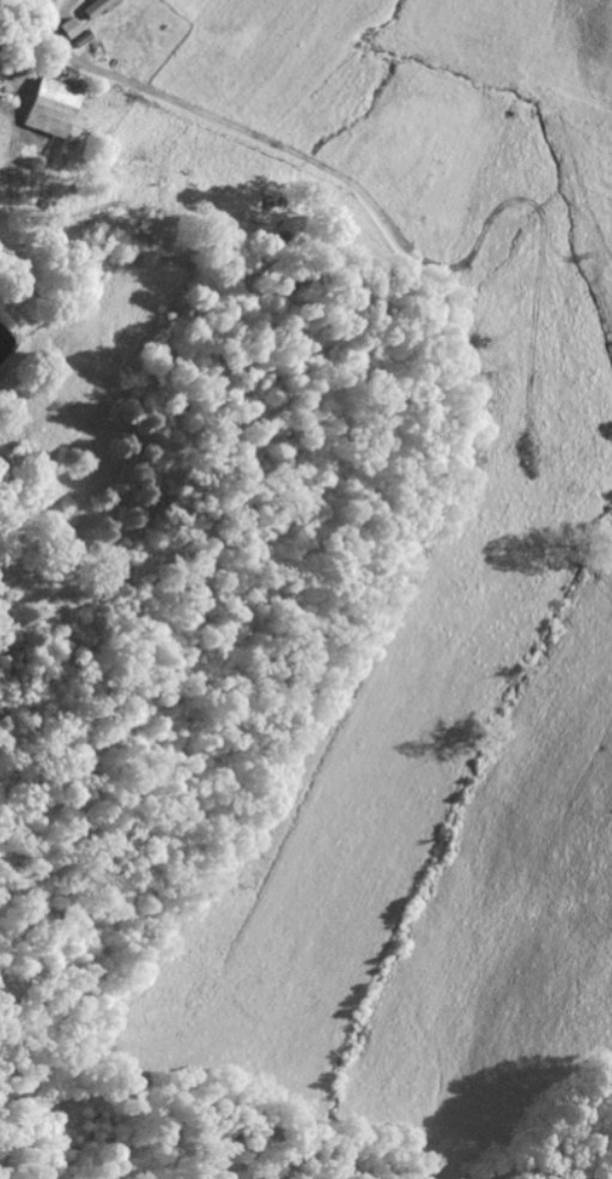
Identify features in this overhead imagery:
building: (95, 7)
building: (50, 105)

